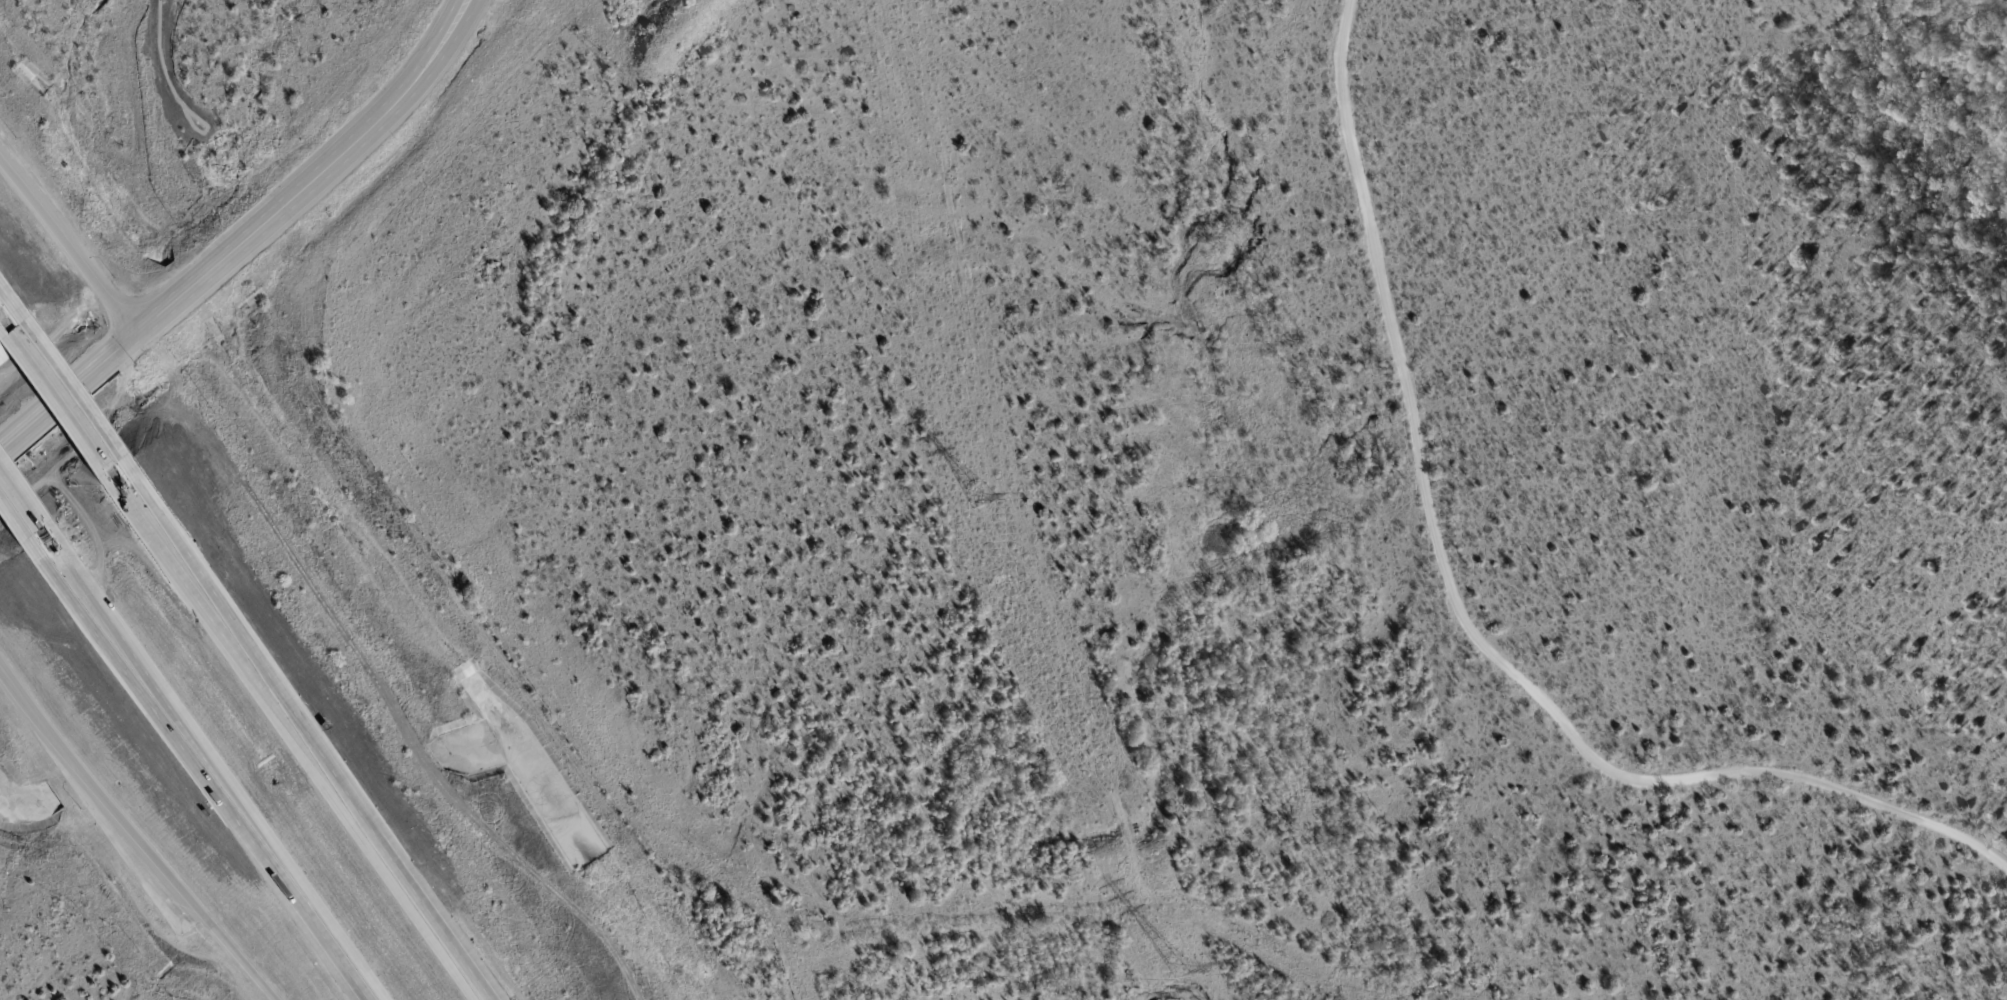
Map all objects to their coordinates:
road: (452, 24)
road: (464, 24)
road: (294, 193)
road: (69, 239)
road: (2, 294)
road: (65, 382)
road: (68, 389)
power tower: (978, 496)
road: (22, 502)
road: (1464, 616)
road: (312, 734)
road: (208, 766)
road: (133, 836)
power tower: (1176, 969)

